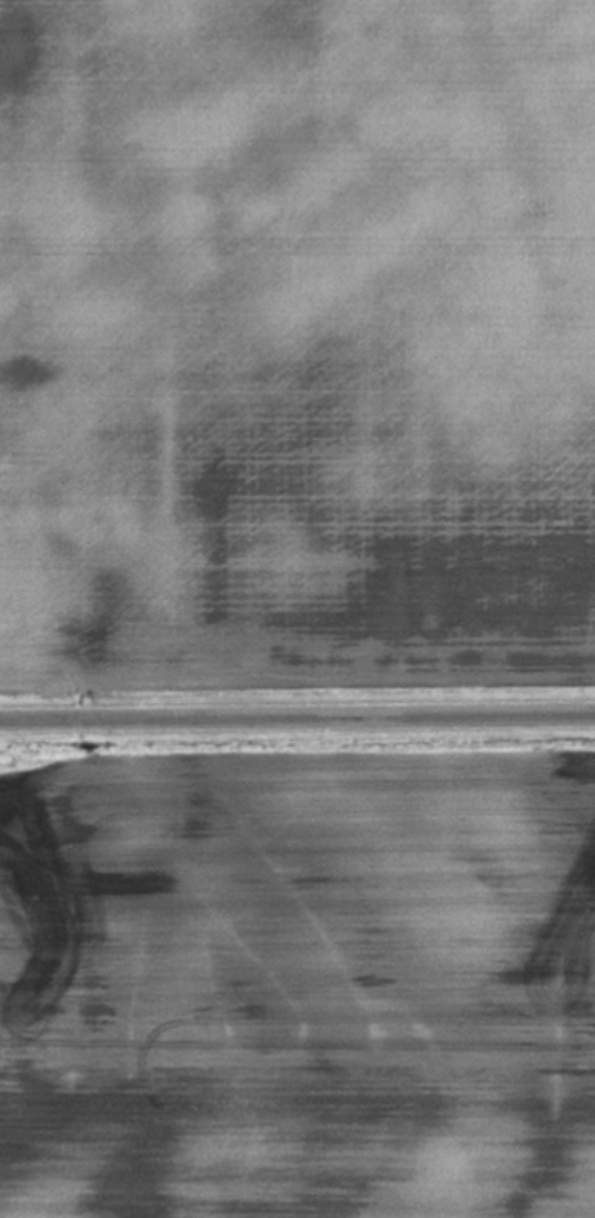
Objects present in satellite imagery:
road: (297, 720)

